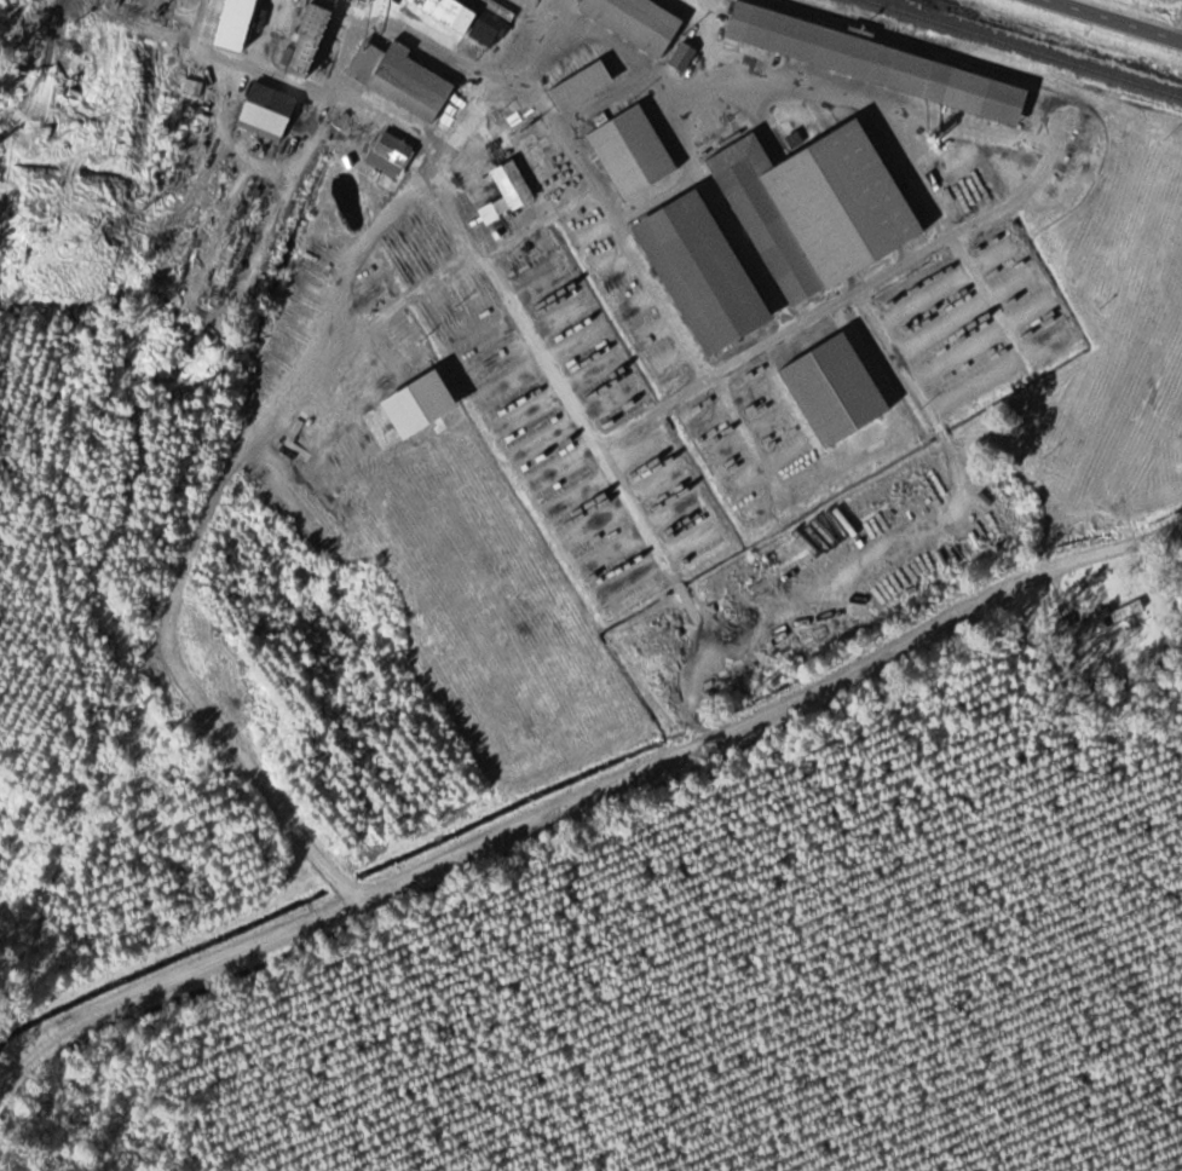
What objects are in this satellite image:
building: (361, 1)
building: (463, 19)
road: (1111, 21)
building: (634, 22)
building: (231, 24)
road: (1180, 38)
building: (305, 40)
railway: (1026, 47)
building: (682, 57)
building: (875, 63)
building: (399, 79)
building: (580, 86)
building: (265, 110)
building: (630, 150)
building: (390, 154)
building: (507, 192)
building: (814, 208)
building: (699, 273)
building: (831, 390)
building: (1120, 613)
building: (659, 687)
road: (586, 798)

